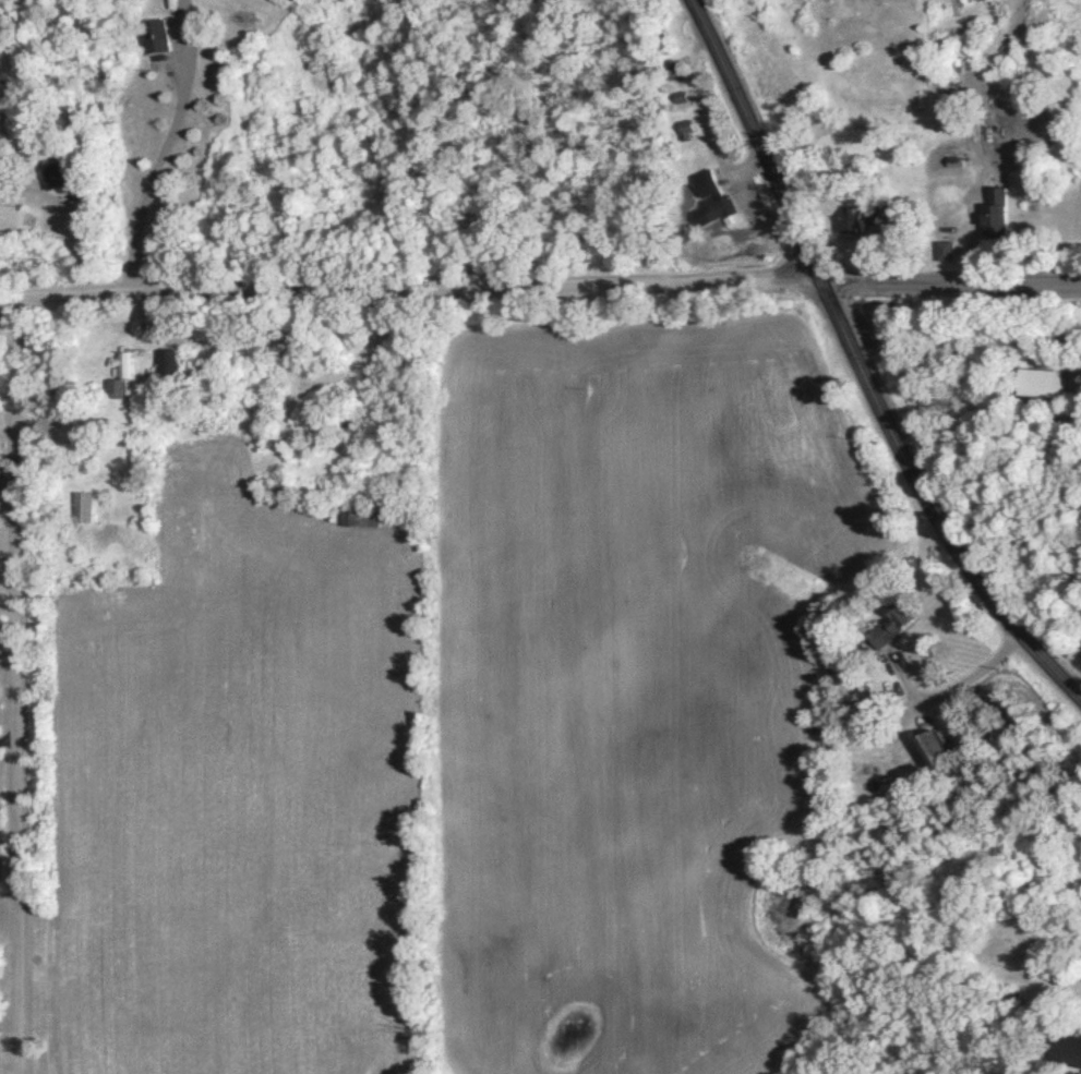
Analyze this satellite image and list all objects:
building: (154, 41)
building: (672, 75)
building: (683, 135)
road: (161, 149)
building: (51, 182)
building: (709, 206)
road: (72, 216)
building: (994, 220)
building: (852, 226)
building: (944, 257)
road: (947, 285)
road: (406, 292)
road: (860, 373)
building: (120, 381)
building: (1038, 387)
building: (81, 514)
building: (359, 522)
road: (8, 611)
building: (887, 631)
road: (952, 684)
road: (16, 686)
building: (930, 760)
building: (1067, 1055)

